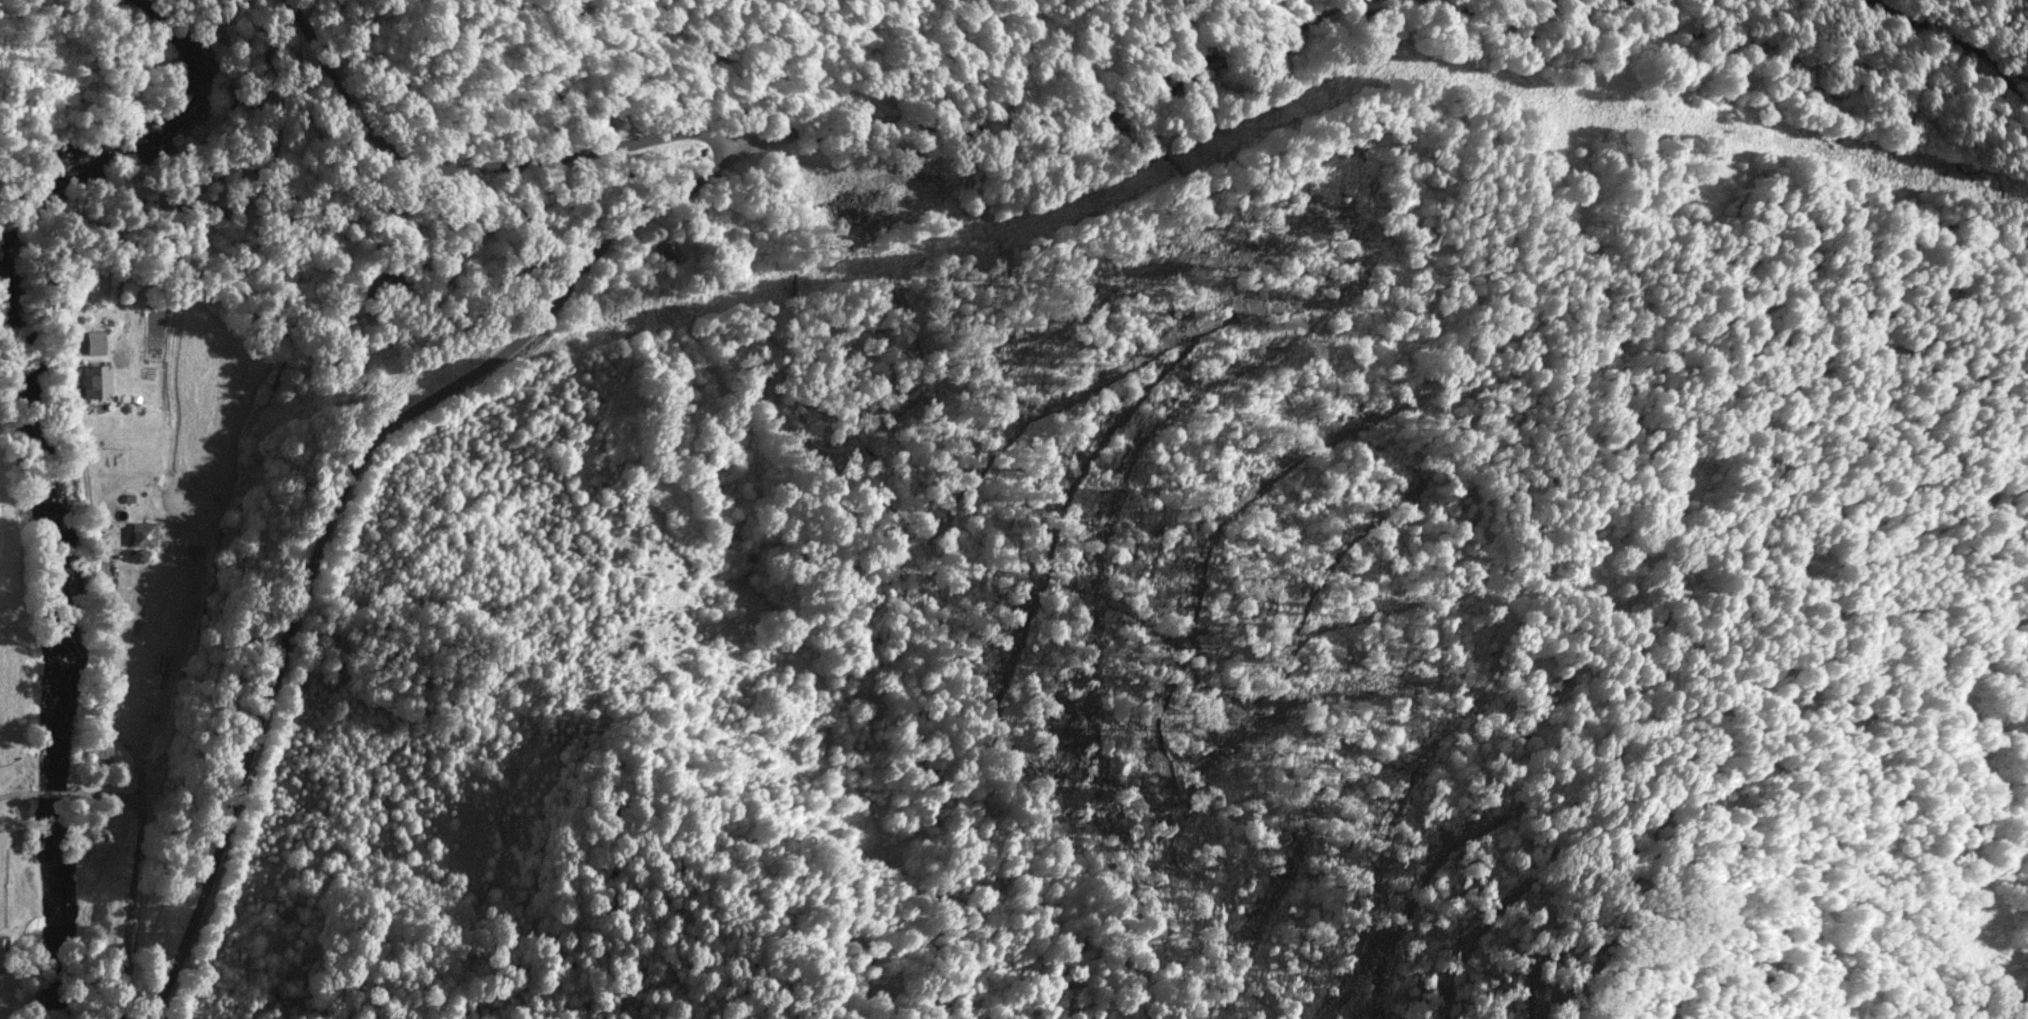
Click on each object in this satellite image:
road: (1964, 40)
road: (2015, 98)
road: (971, 101)
building: (666, 247)
building: (96, 380)
road: (433, 397)
building: (143, 532)
building: (100, 748)
road: (136, 939)
building: (2, 955)

